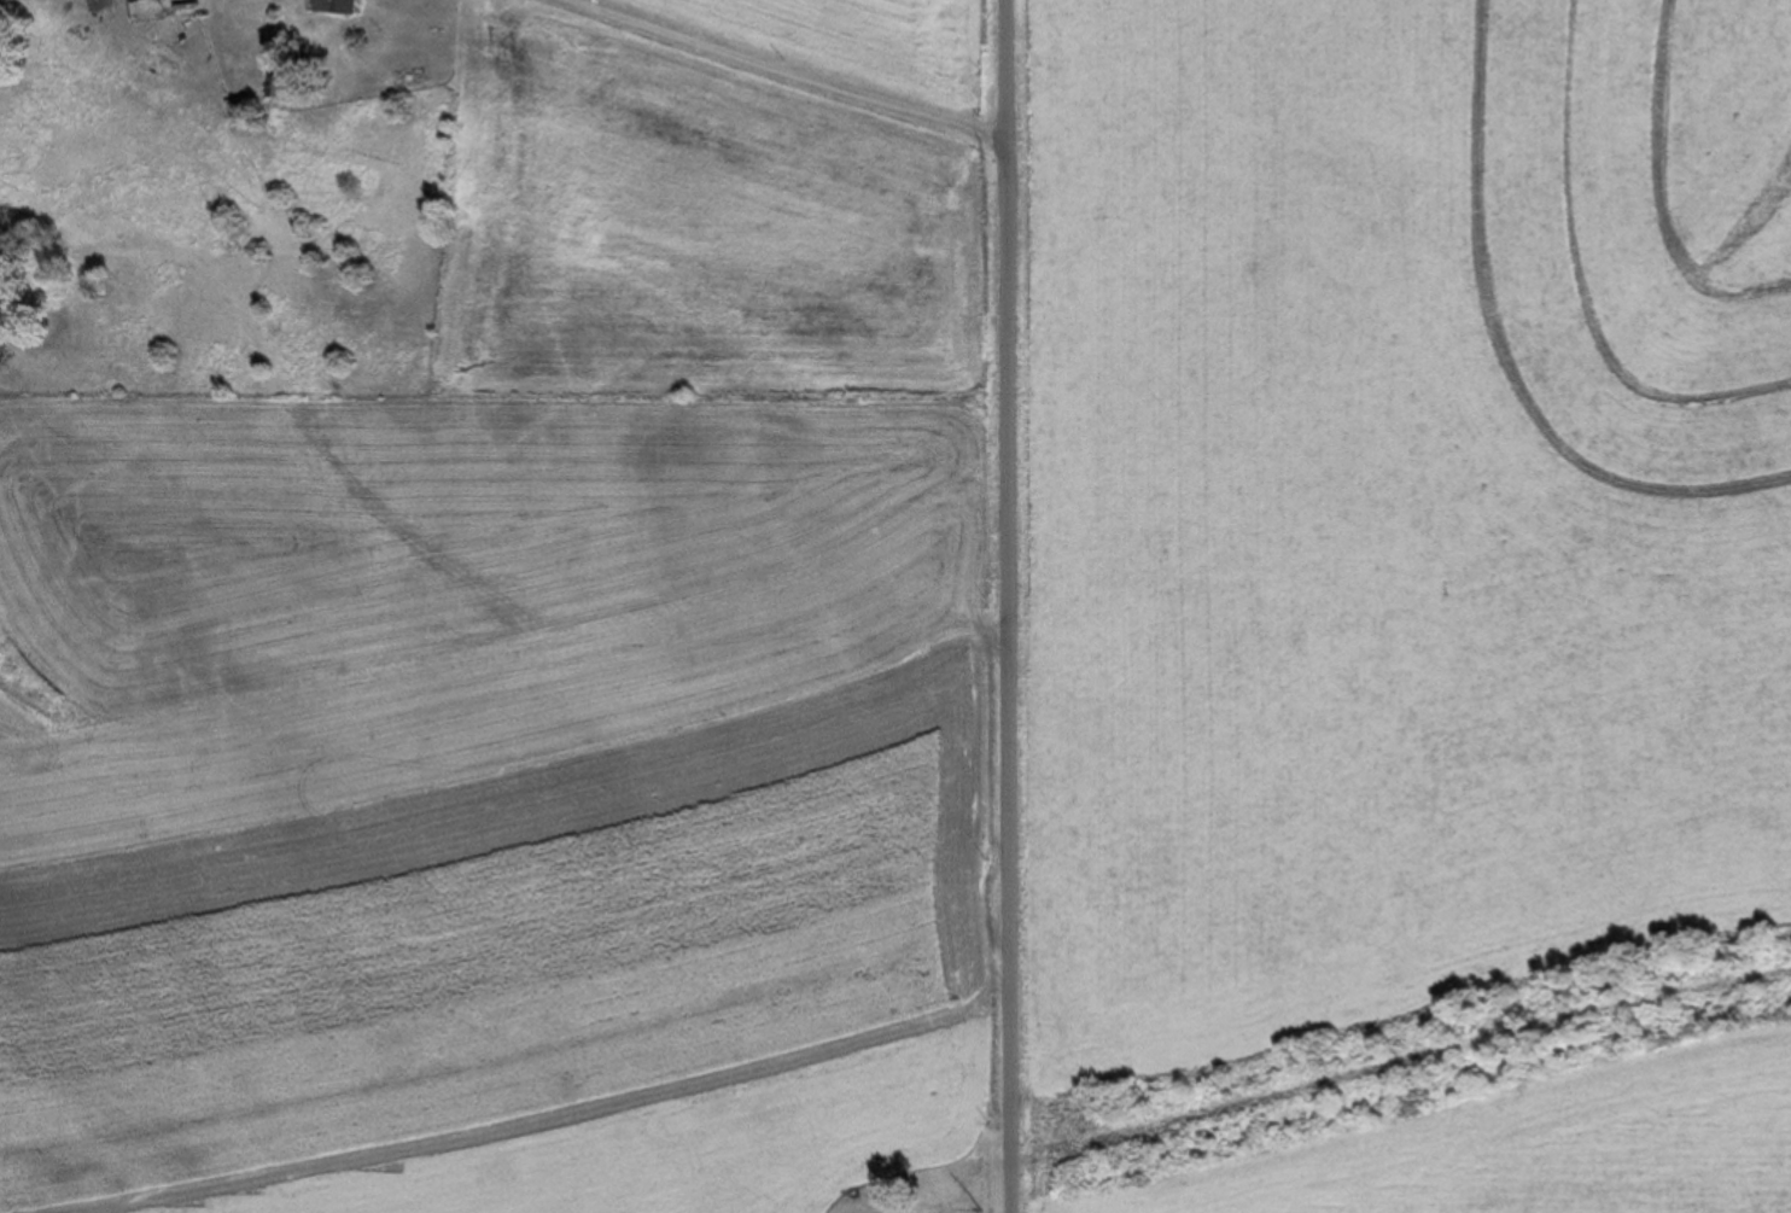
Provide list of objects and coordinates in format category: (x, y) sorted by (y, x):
building: (333, 7)
road: (782, 71)
building: (279, 91)
road: (1005, 606)

